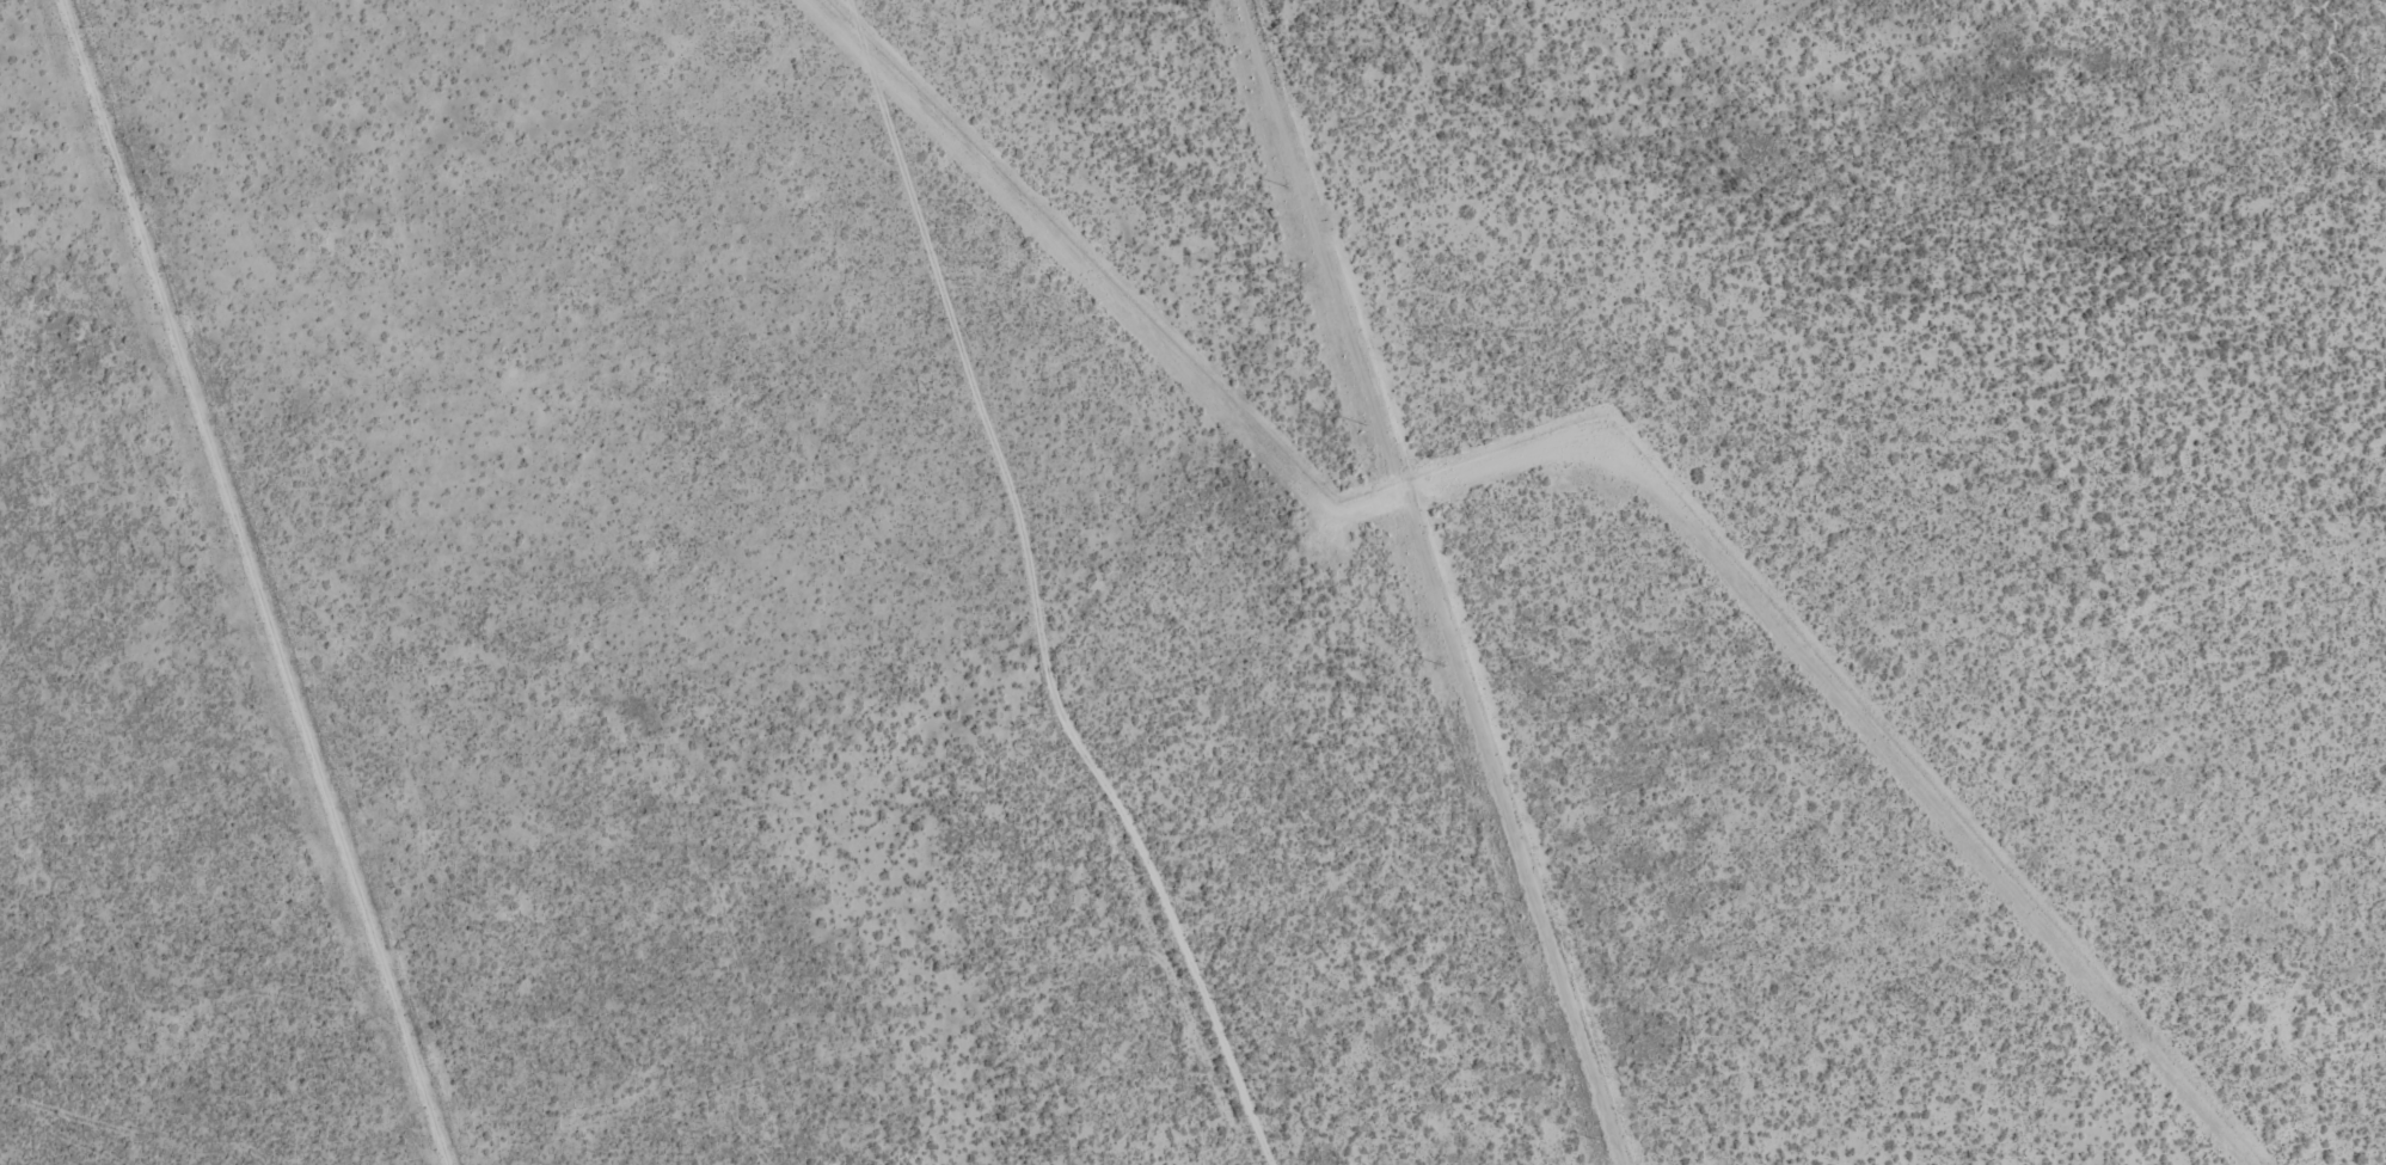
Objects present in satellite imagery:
road: (10, 2)
road: (1050, 595)

